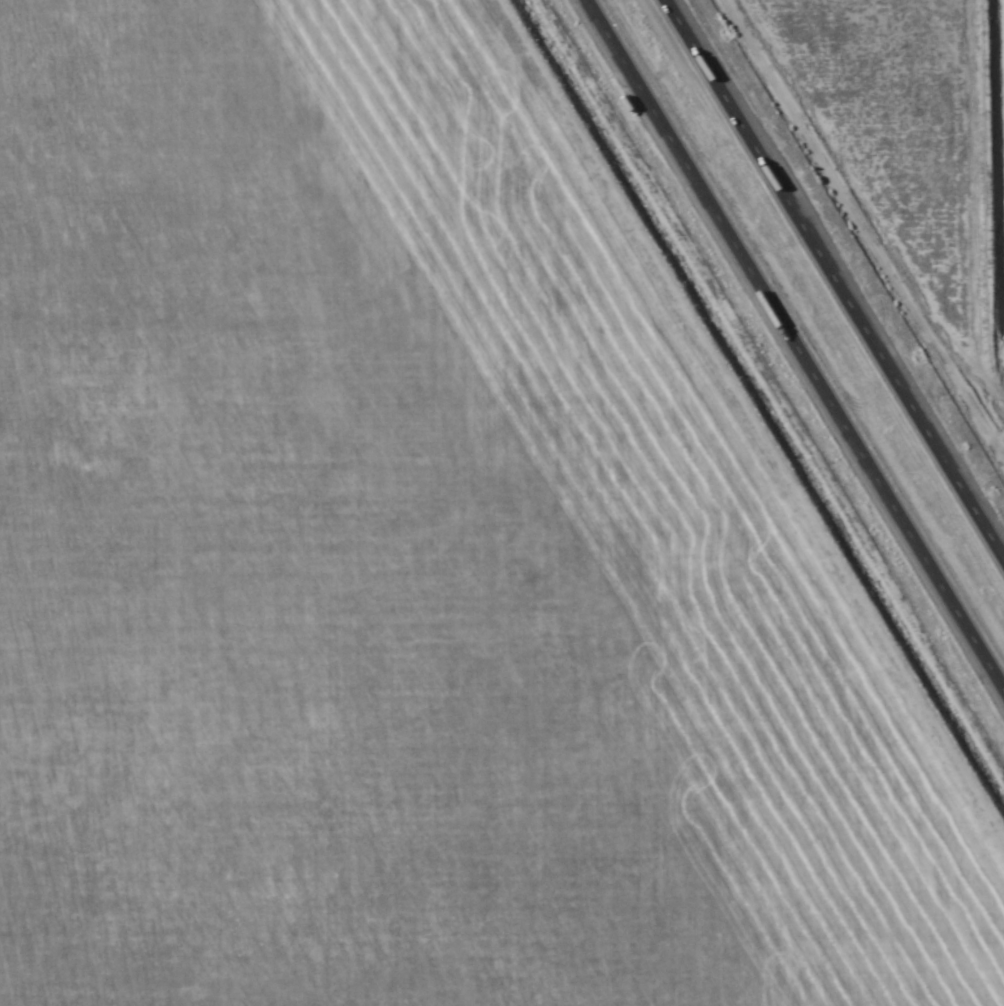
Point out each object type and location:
road: (836, 275)
road: (795, 343)

